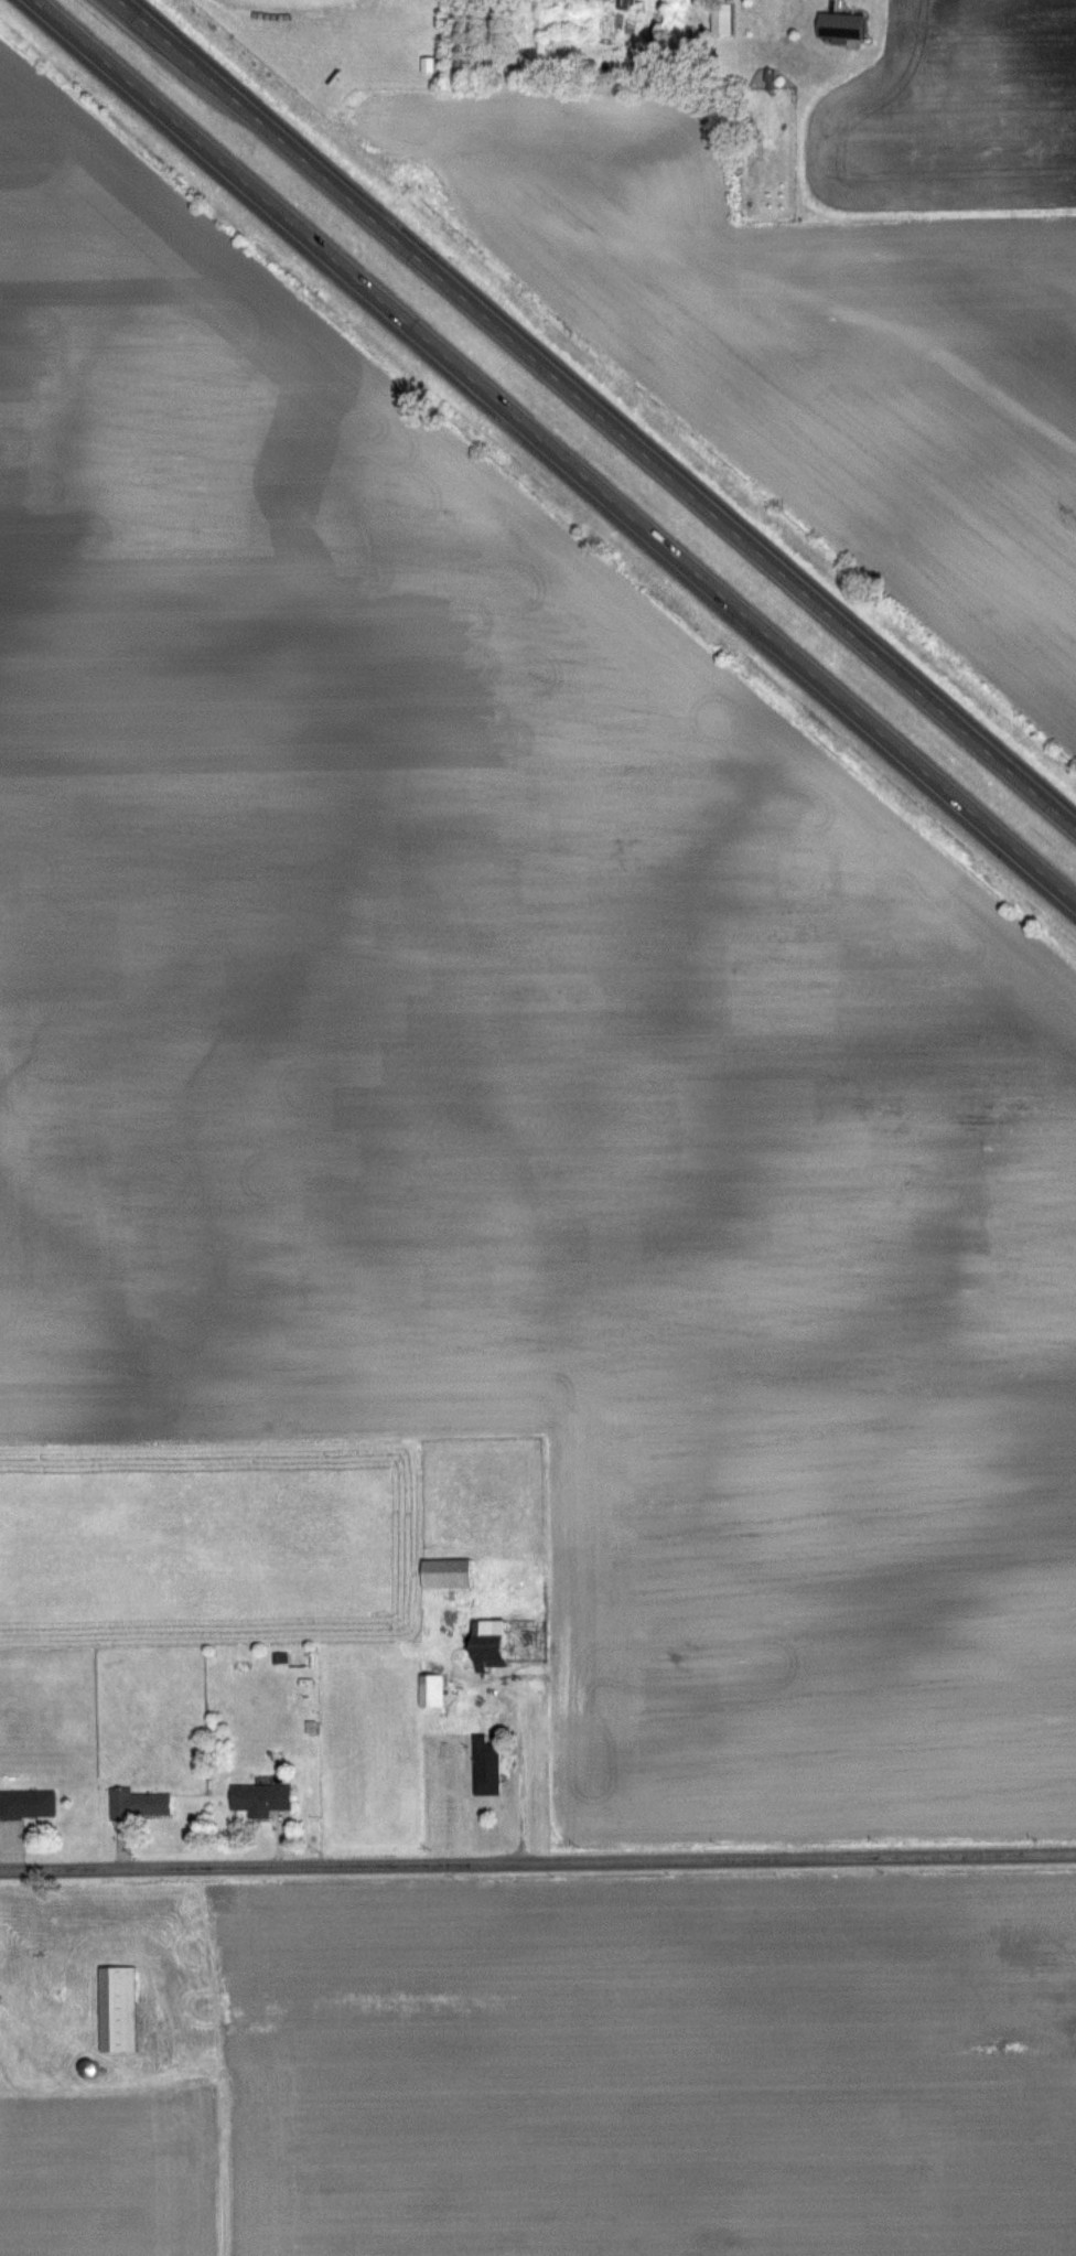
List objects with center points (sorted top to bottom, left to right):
building: (721, 18)
building: (840, 24)
road: (596, 413)
road: (555, 451)
building: (446, 1572)
building: (488, 1643)
building: (431, 1689)
building: (485, 1763)
building: (259, 1798)
building: (28, 1803)
building: (138, 1803)
road: (538, 1863)
building: (117, 2008)

